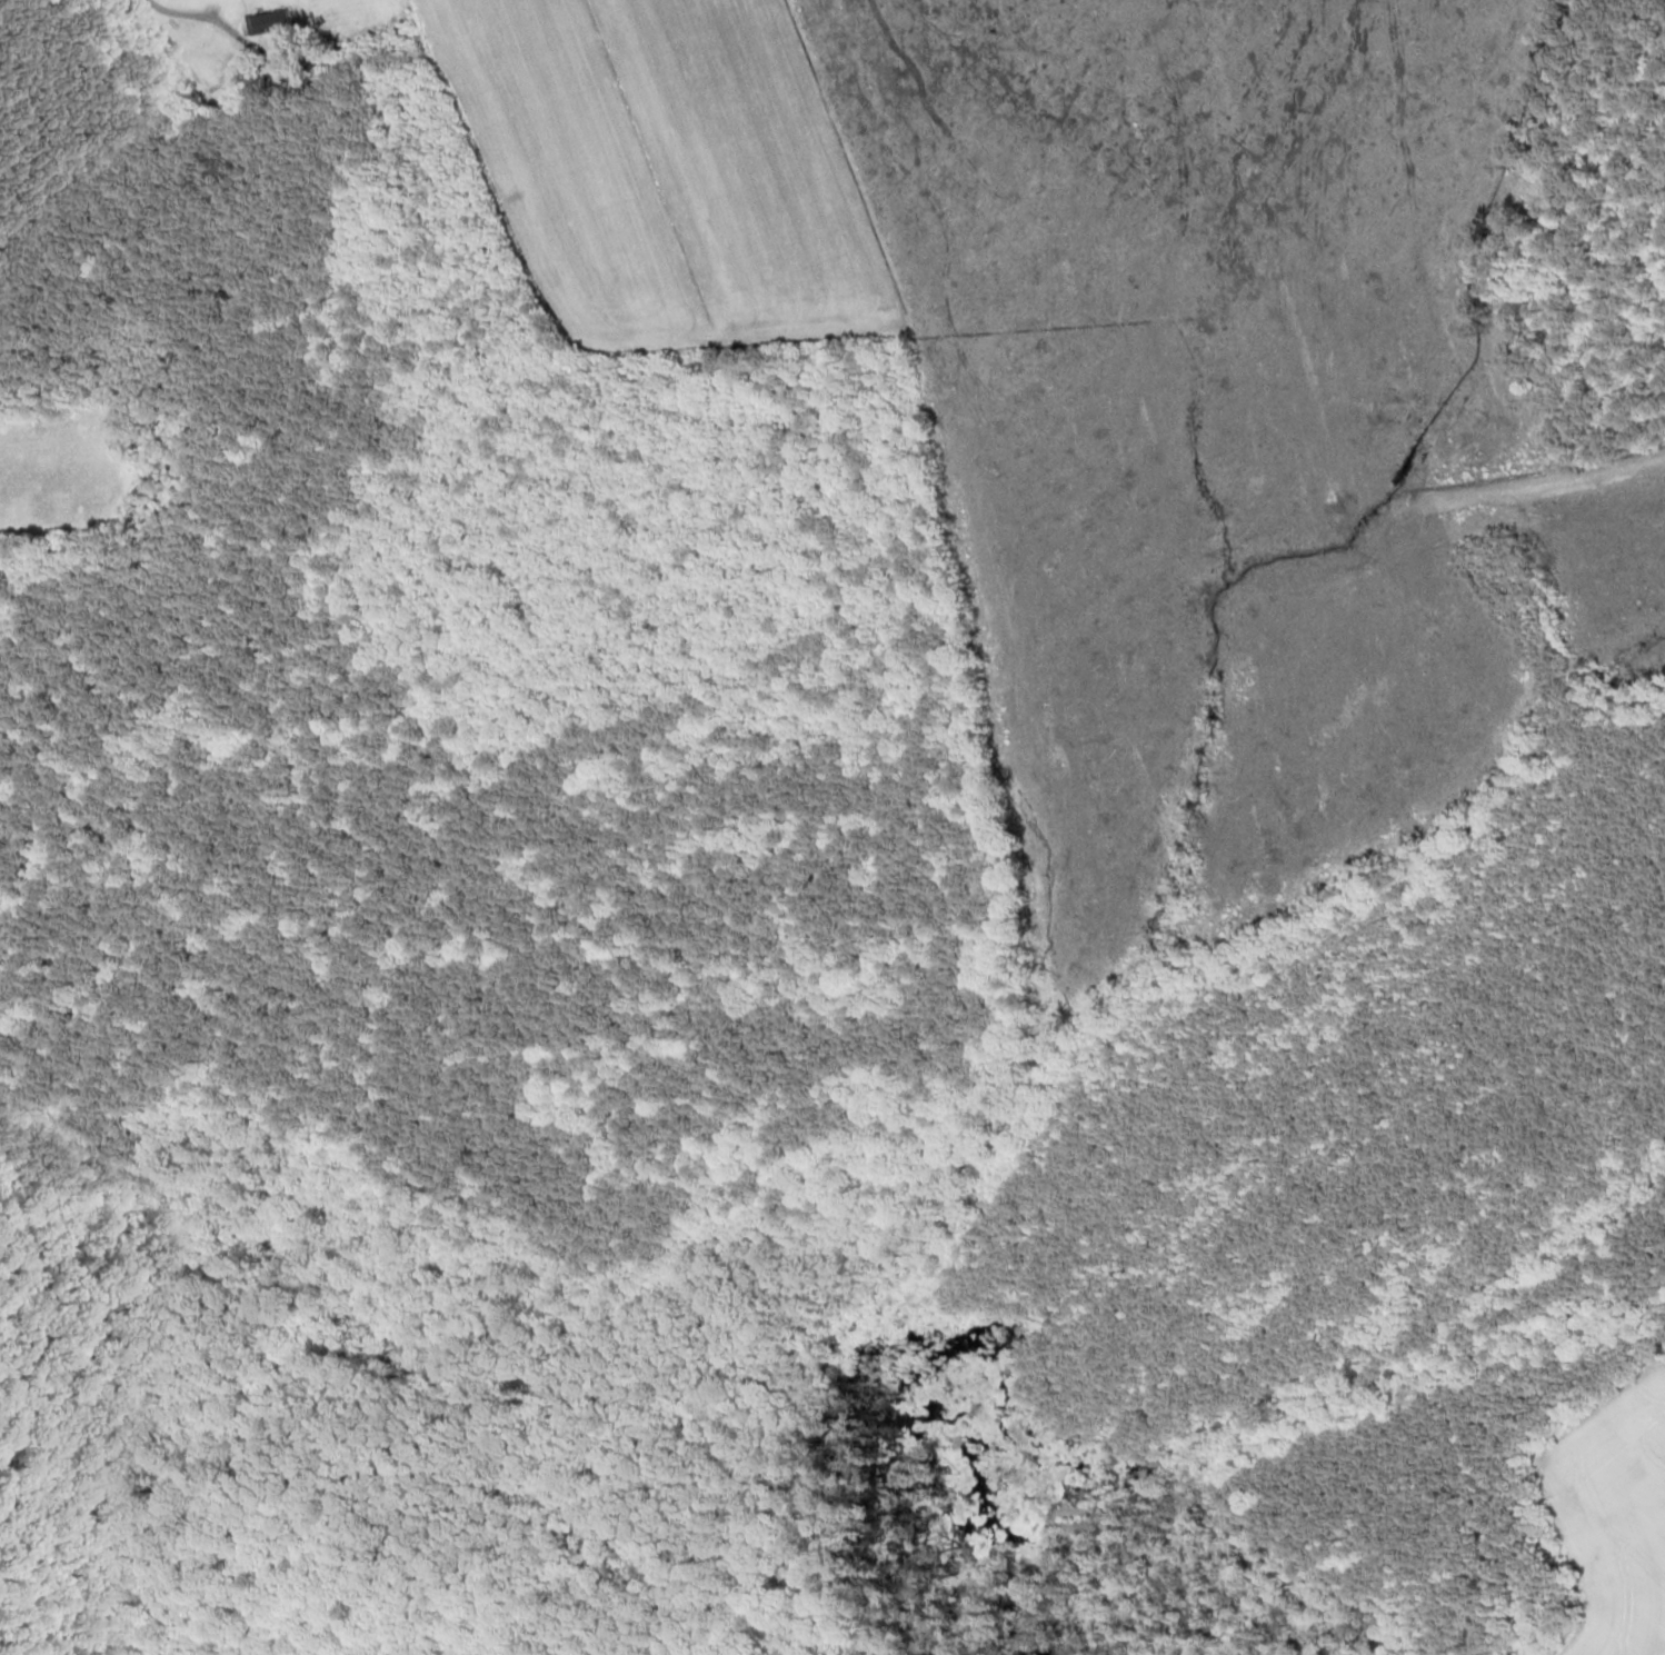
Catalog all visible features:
road: (199, 13)
building: (263, 23)

